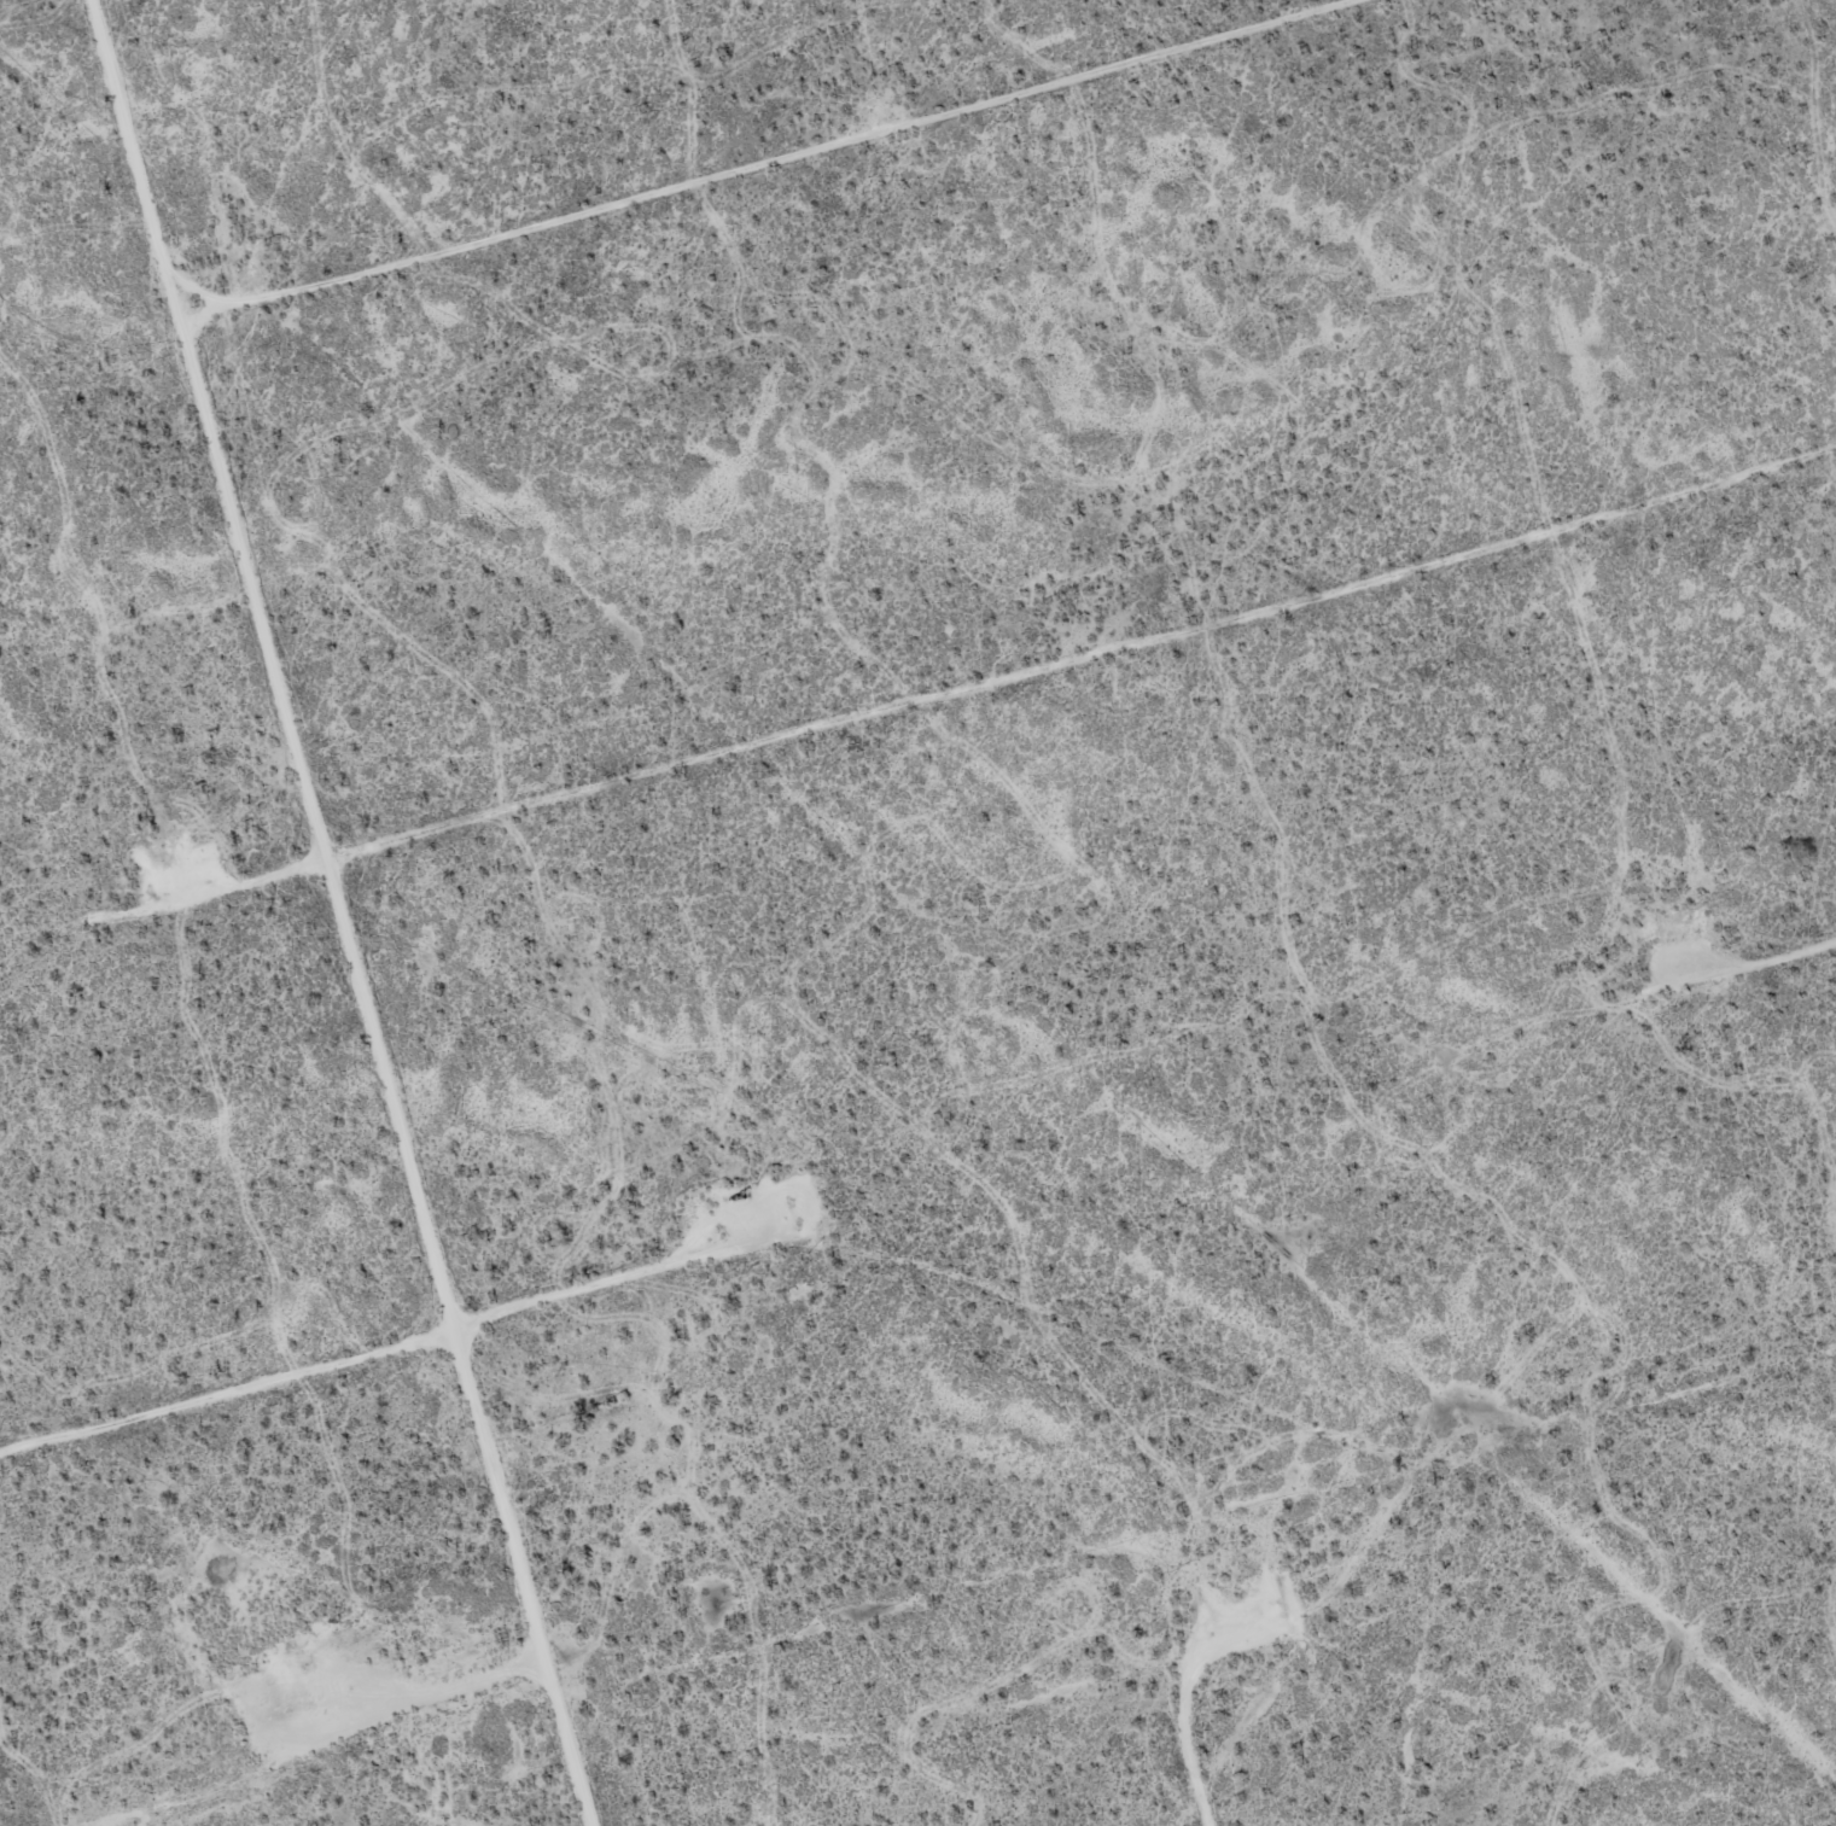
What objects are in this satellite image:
road: (773, 165)
road: (1090, 660)
road: (354, 910)
road: (1747, 972)
road: (724, 1255)
road: (1182, 1690)

